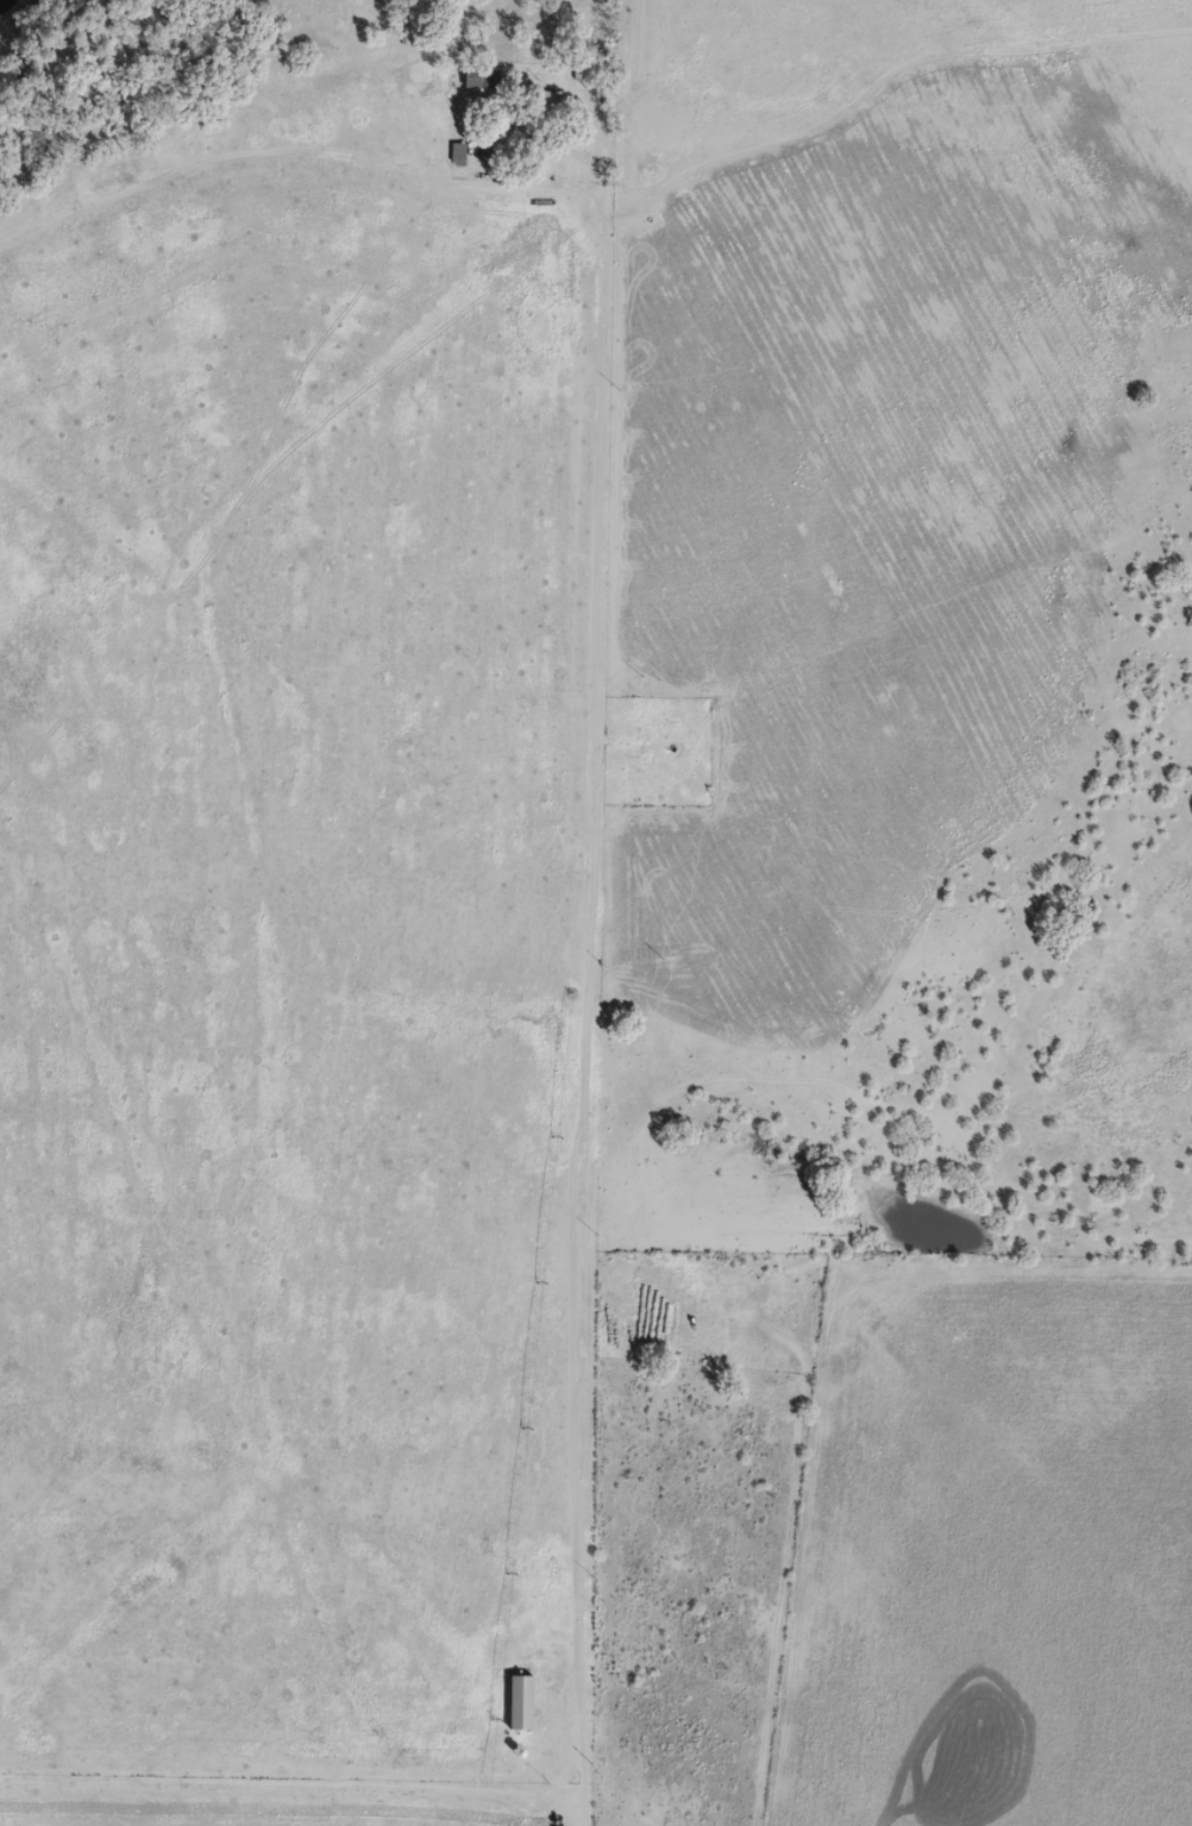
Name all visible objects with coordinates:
building: (542, 106)
building: (459, 153)
road: (647, 734)
building: (523, 1702)
road: (302, 1781)

